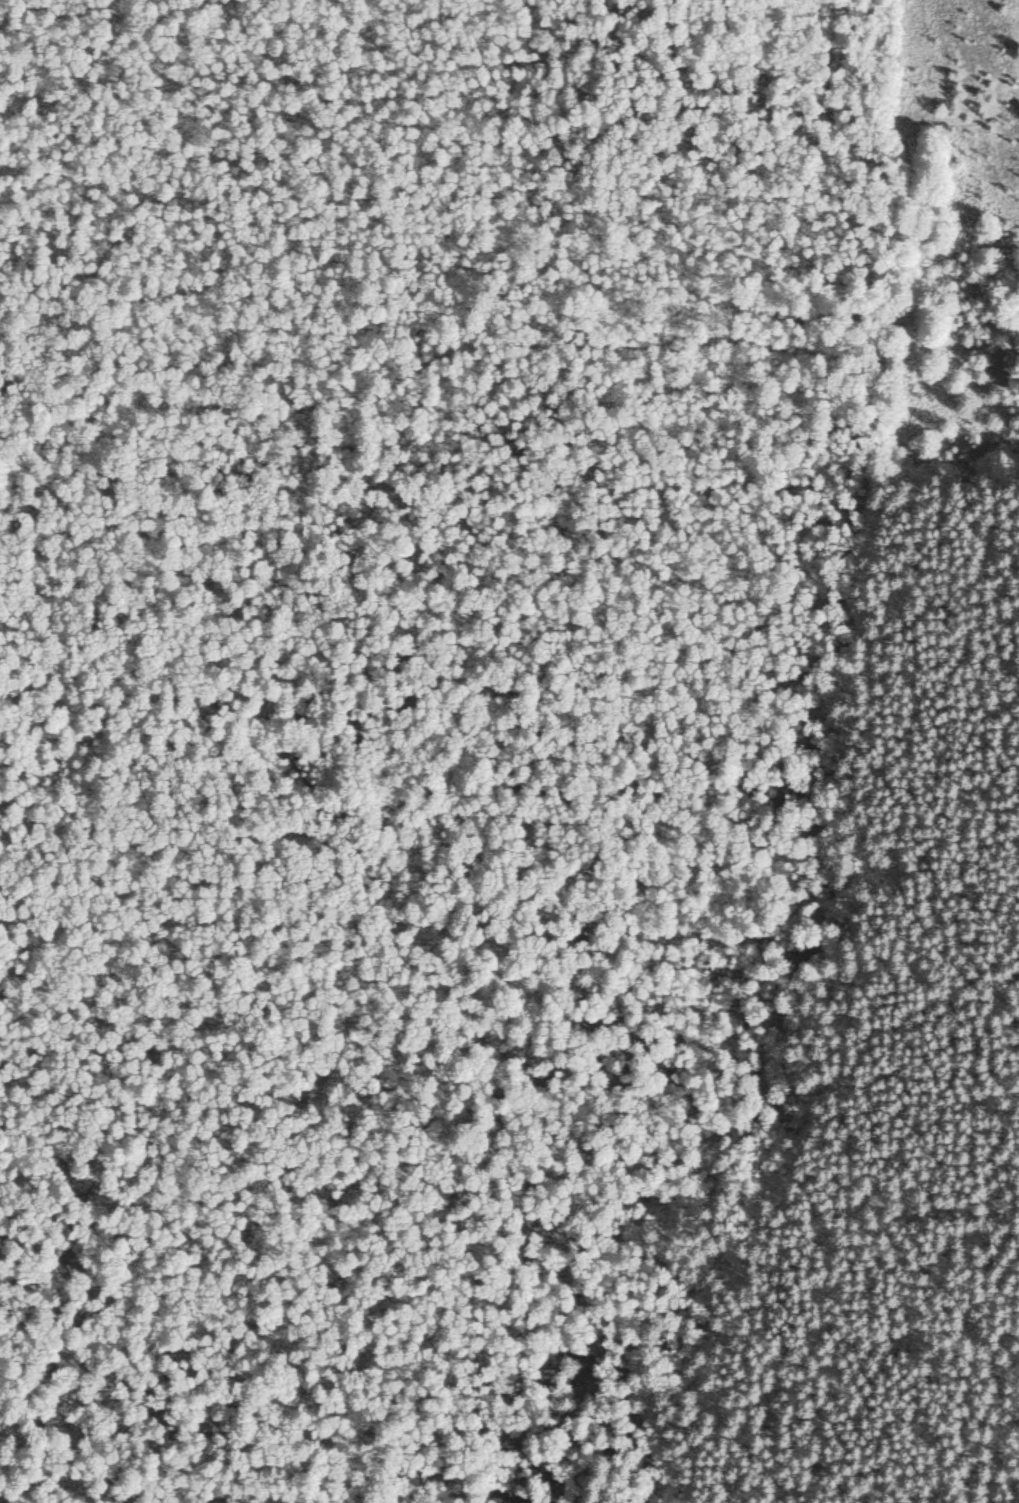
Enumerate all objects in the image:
road: (258, 760)

